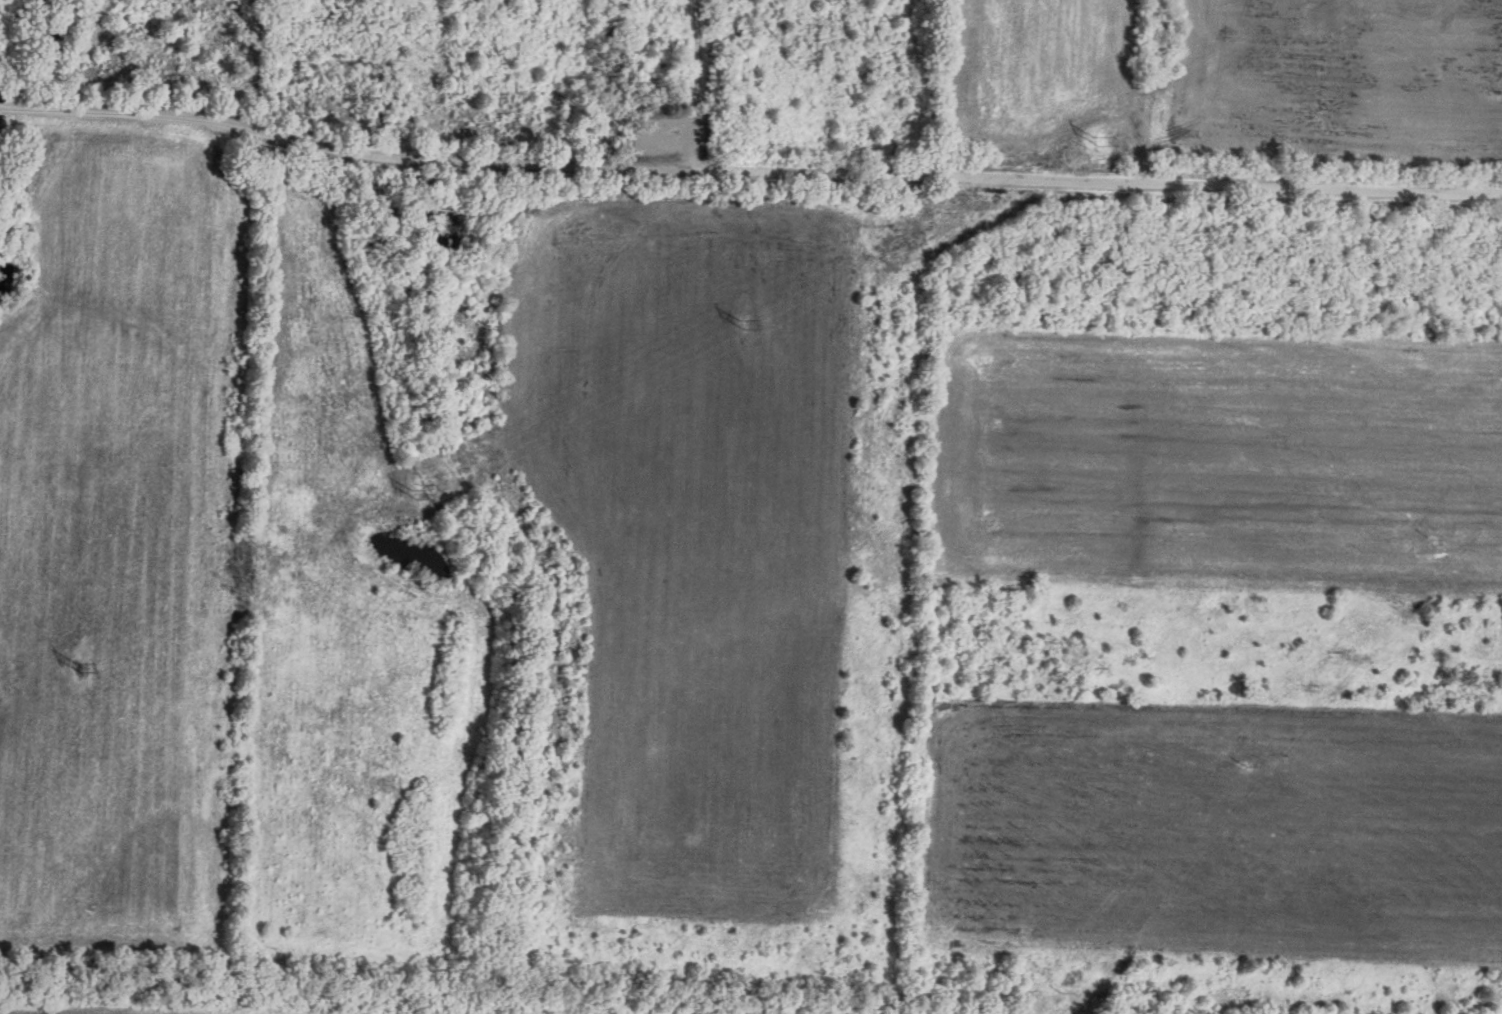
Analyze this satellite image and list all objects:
road: (1129, 89)
power tower: (1099, 150)
road: (748, 161)
power tower: (745, 331)
power tower: (415, 503)
power tower: (81, 675)

